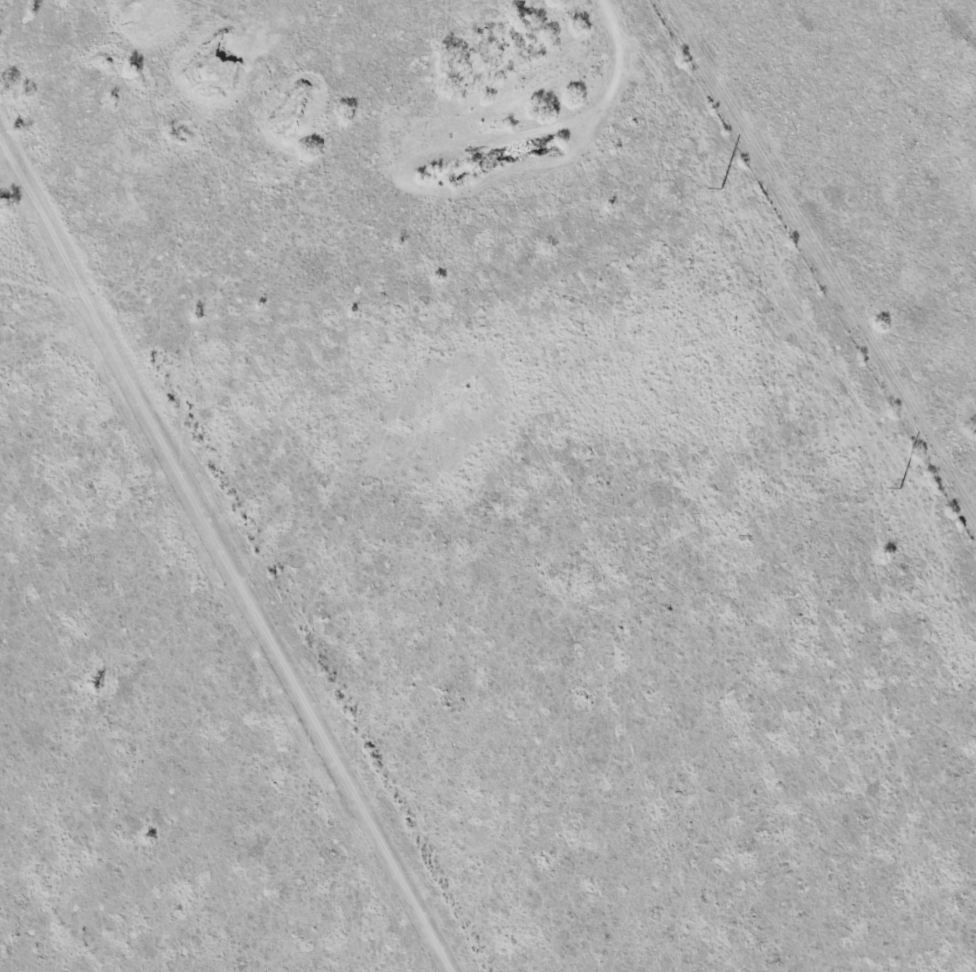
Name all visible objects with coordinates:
power tower: (721, 189)
power tower: (899, 488)
road: (221, 561)

